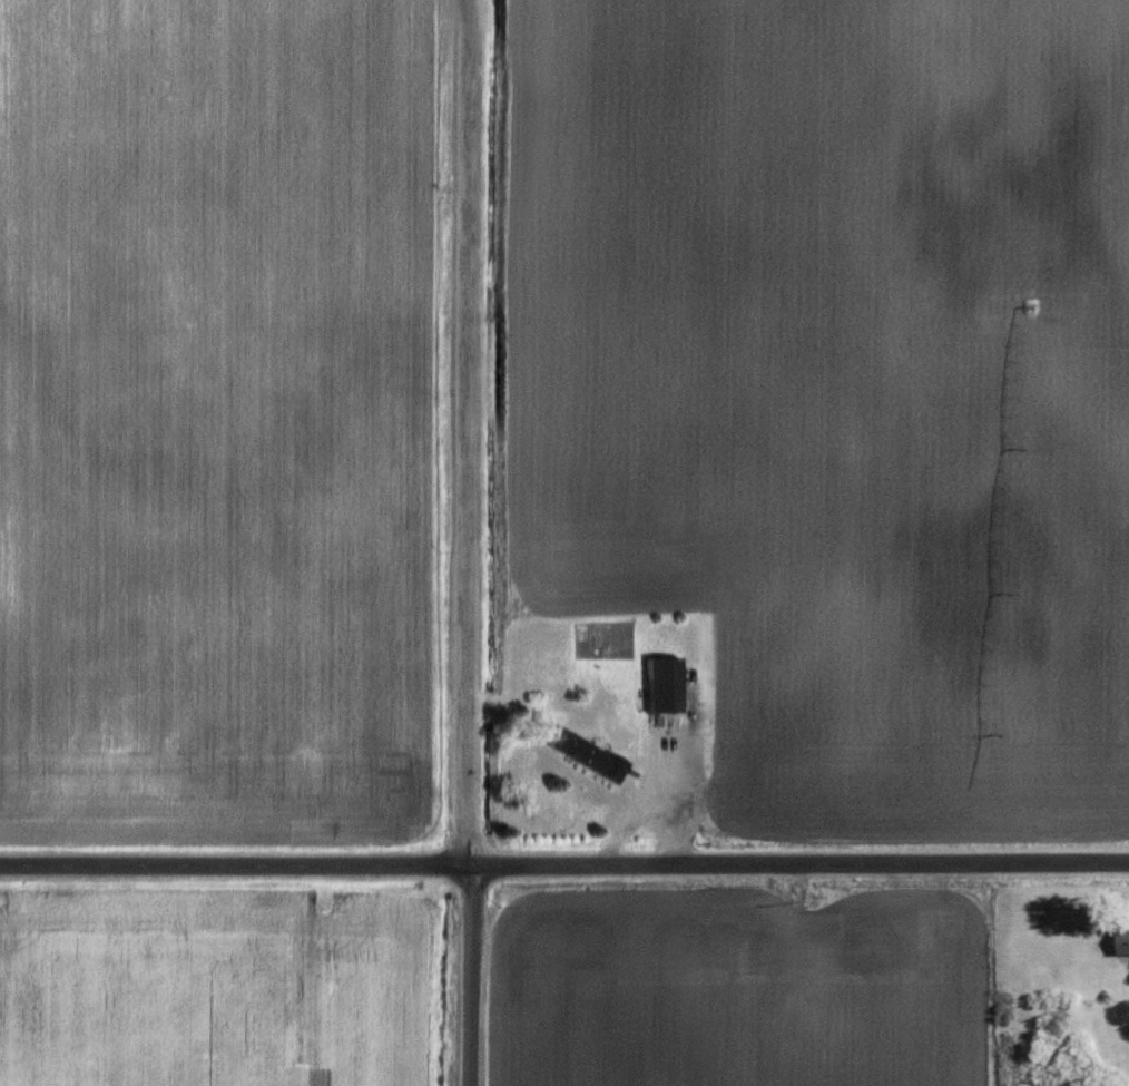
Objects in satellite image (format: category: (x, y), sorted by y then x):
road: (467, 542)
building: (668, 686)
building: (592, 753)
road: (563, 864)
building: (1125, 940)
building: (767, 959)
building: (814, 1021)

